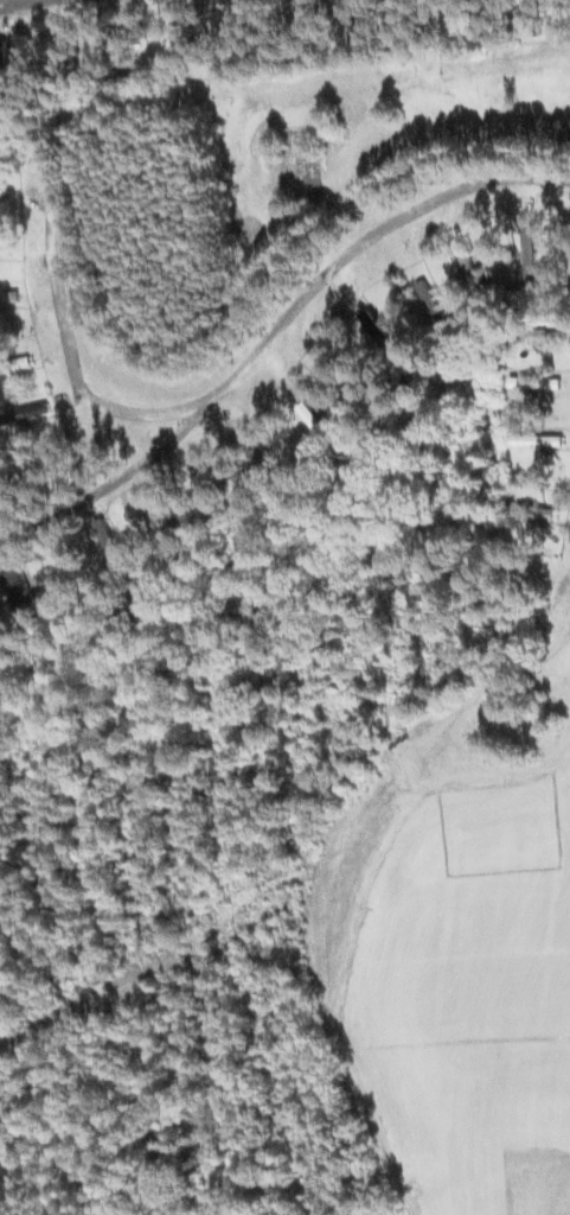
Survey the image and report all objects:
road: (23, 2)
building: (239, 38)
building: (530, 254)
road: (281, 323)
building: (543, 339)
road: (70, 360)
building: (531, 382)
building: (24, 415)
building: (538, 440)

